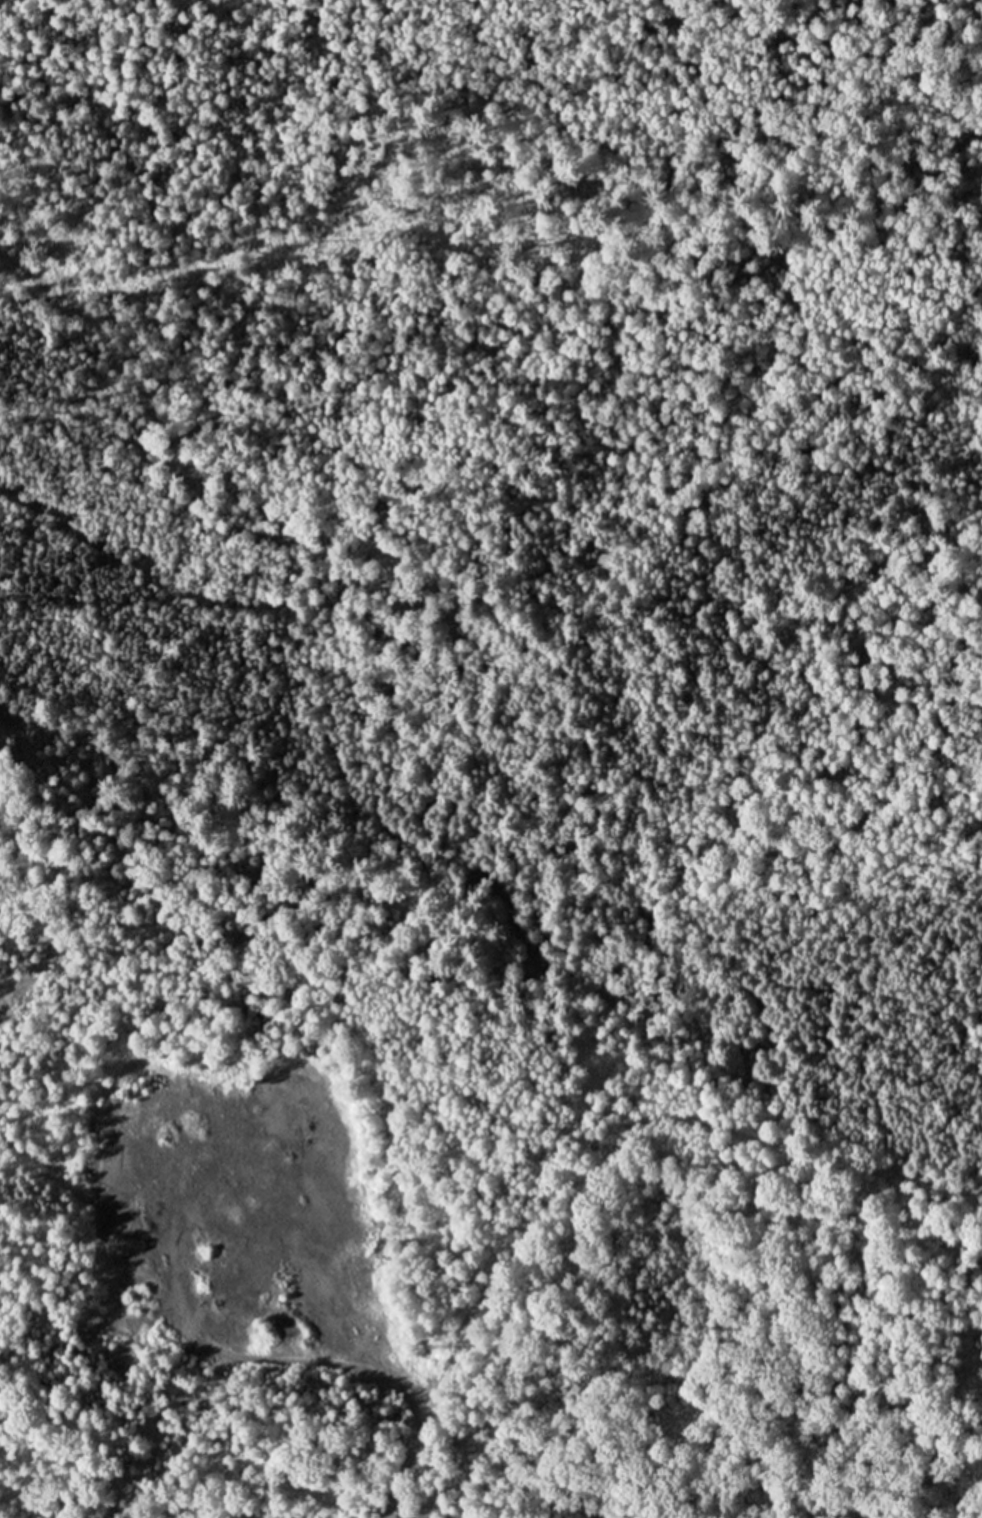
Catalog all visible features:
road: (324, 1365)

